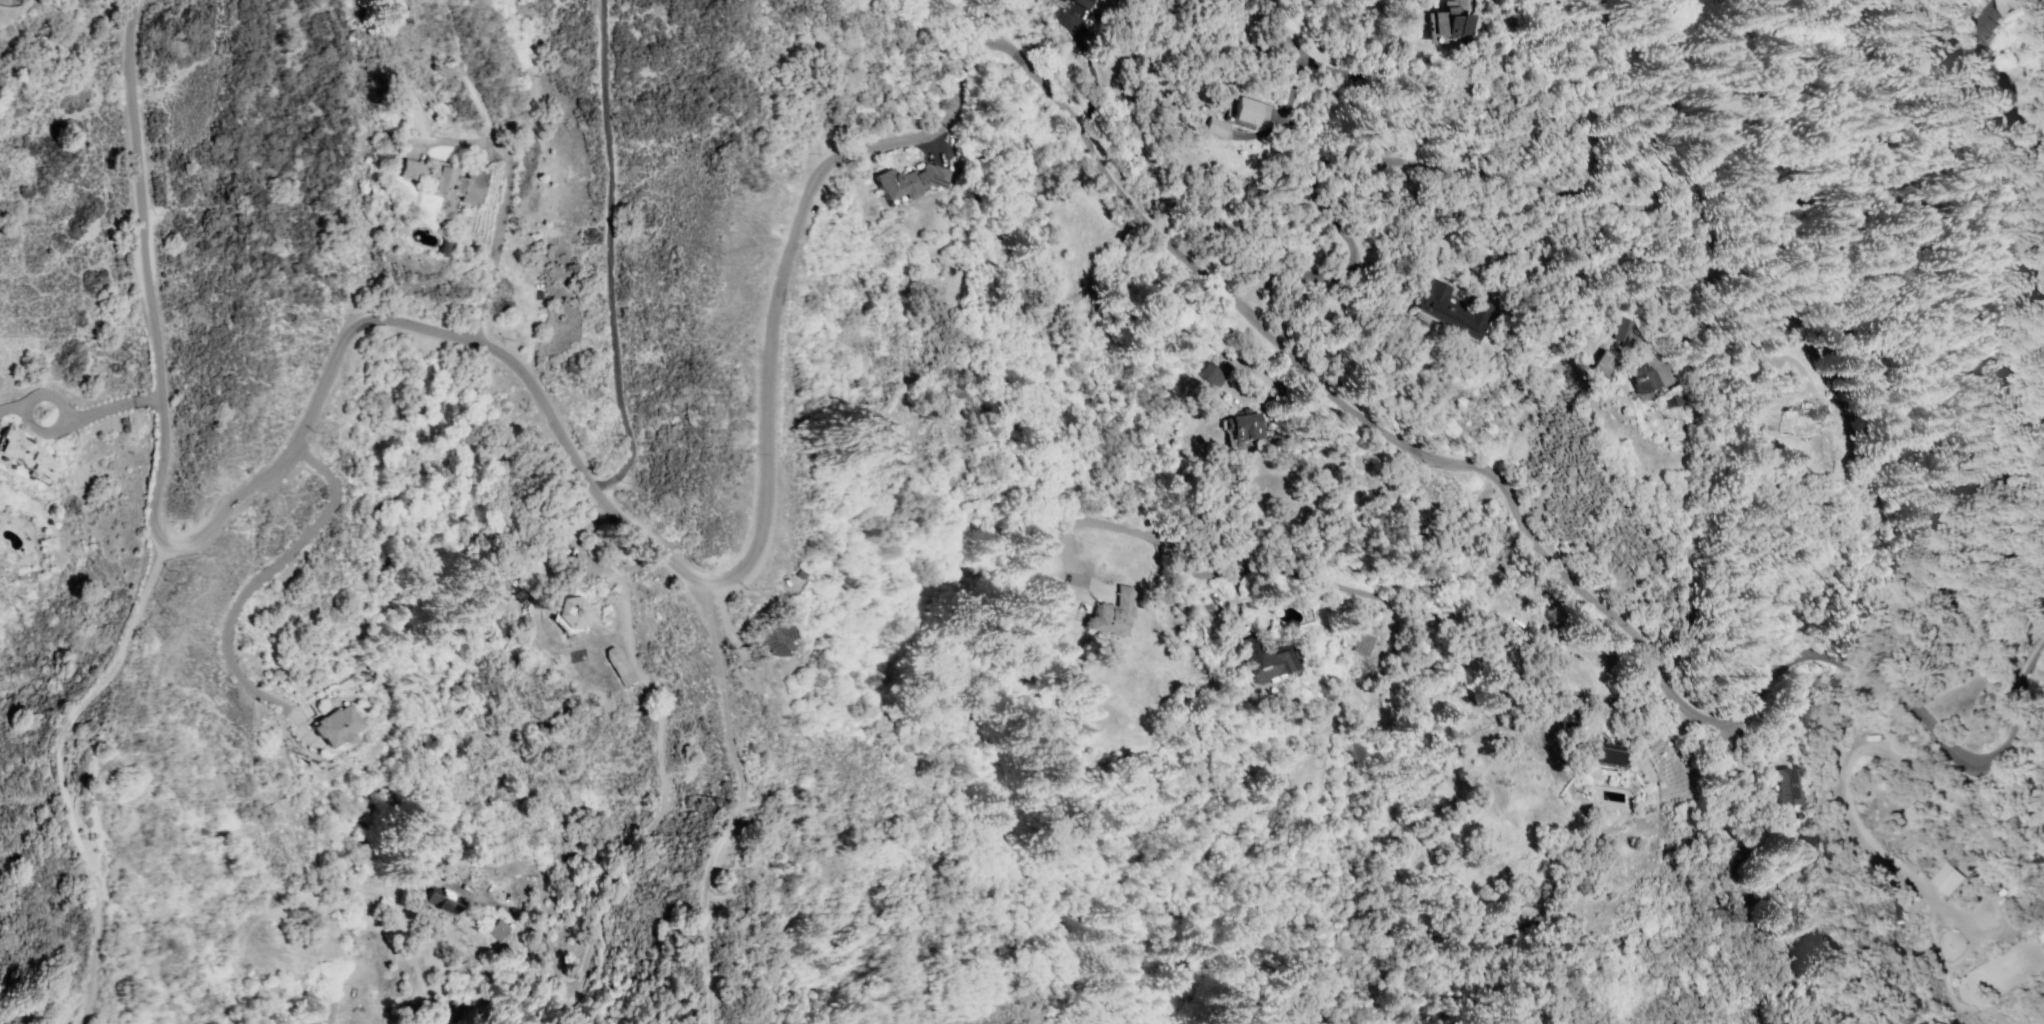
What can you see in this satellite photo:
building: (2035, 1)
building: (1081, 4)
building: (1979, 4)
building: (1953, 20)
building: (1443, 23)
road: (1356, 78)
road: (1651, 104)
building: (1247, 110)
building: (1214, 127)
building: (409, 170)
building: (907, 181)
building: (451, 182)
road: (504, 192)
road: (1656, 207)
road: (1157, 234)
road: (1347, 238)
road: (608, 254)
building: (1450, 311)
building: (1626, 329)
road: (489, 348)
building: (1602, 363)
building: (1209, 376)
building: (1643, 382)
road: (55, 397)
road: (111, 406)
building: (1243, 426)
road: (155, 487)
building: (47, 543)
road: (254, 584)
road: (1345, 584)
building: (569, 613)
building: (1113, 614)
building: (771, 639)
building: (1260, 659)
building: (616, 665)
building: (333, 726)
building: (1600, 754)
road: (58, 772)
road: (1840, 780)
building: (1785, 786)
road: (661, 812)
building: (1945, 879)
crop: (116, 898)
building: (436, 905)
building: (496, 929)

